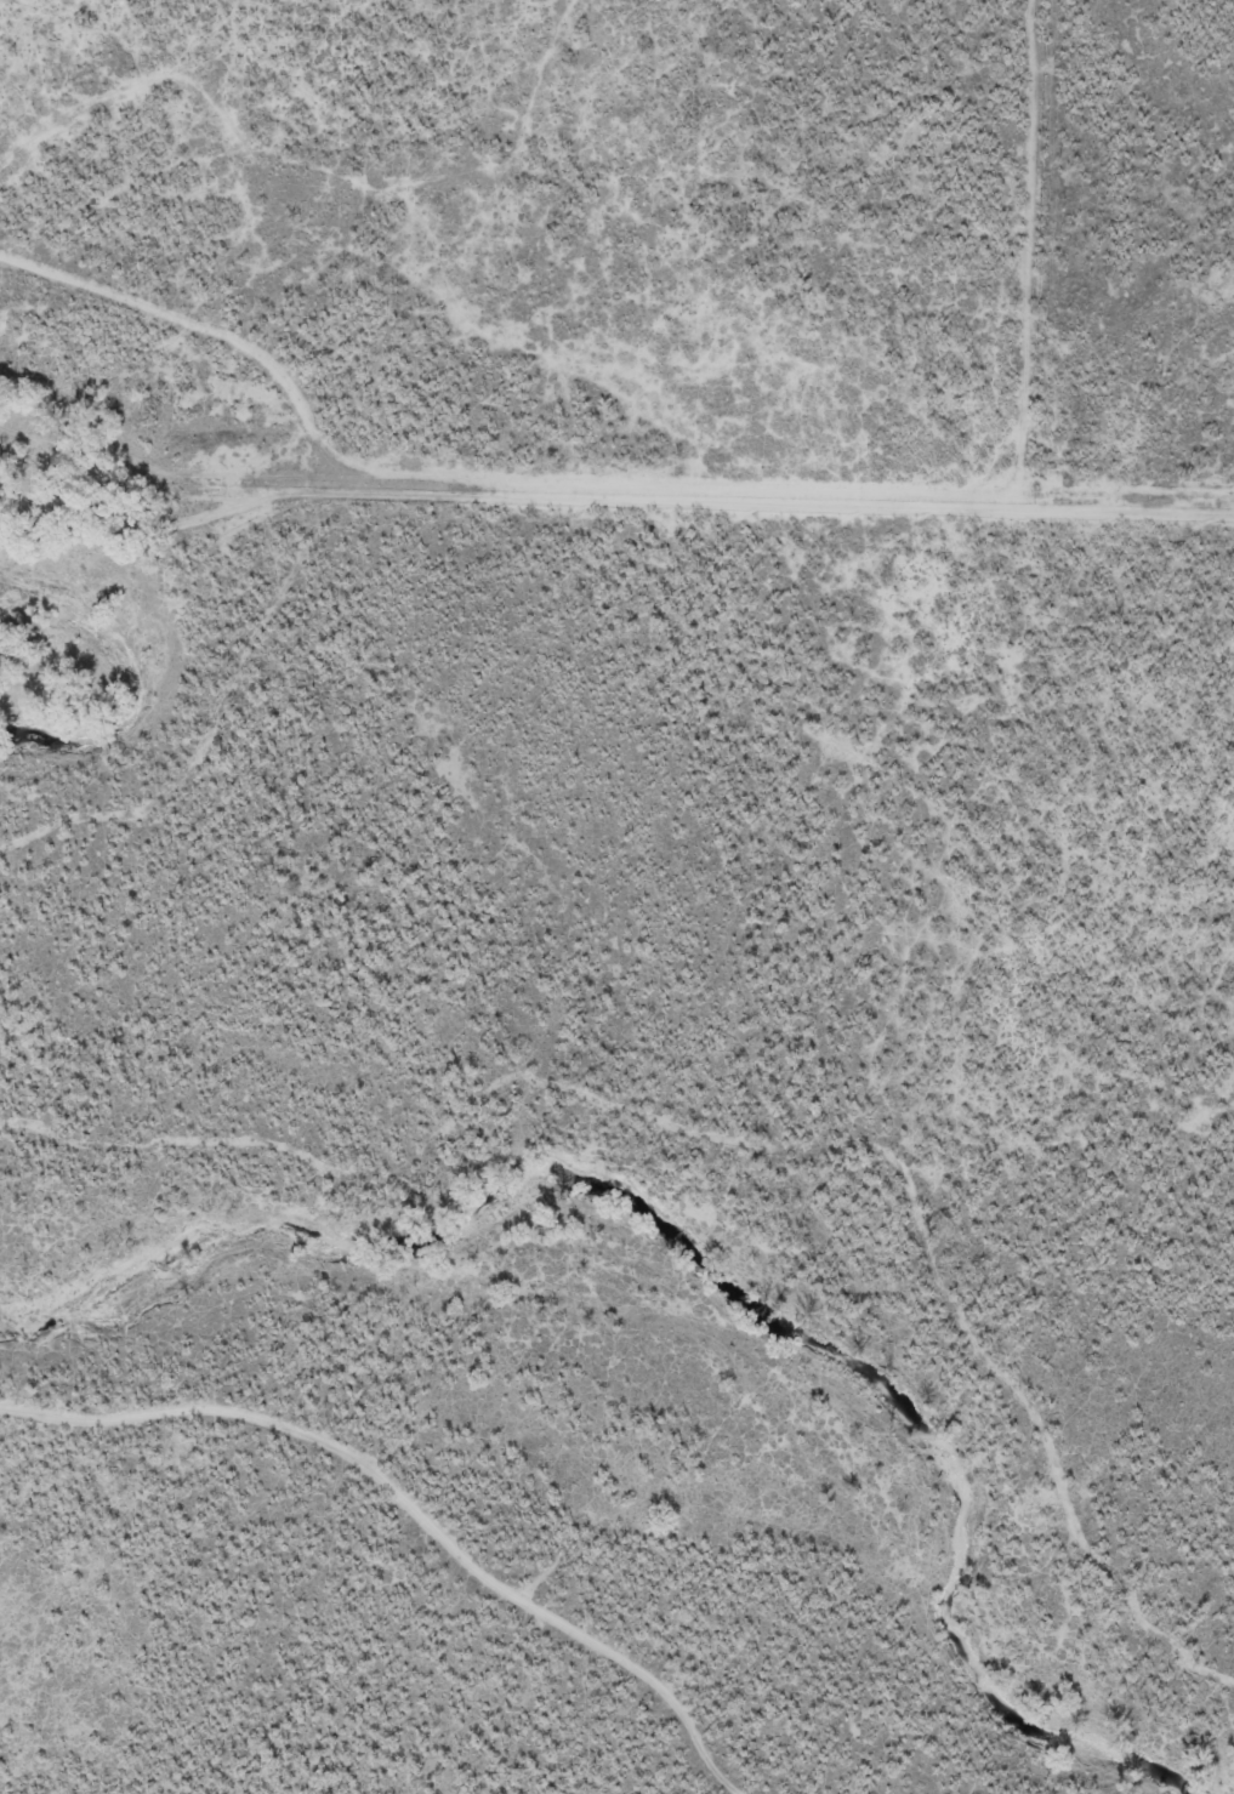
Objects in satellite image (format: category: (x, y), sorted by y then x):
river: (140, 673)
river: (679, 1272)
road: (434, 1516)

